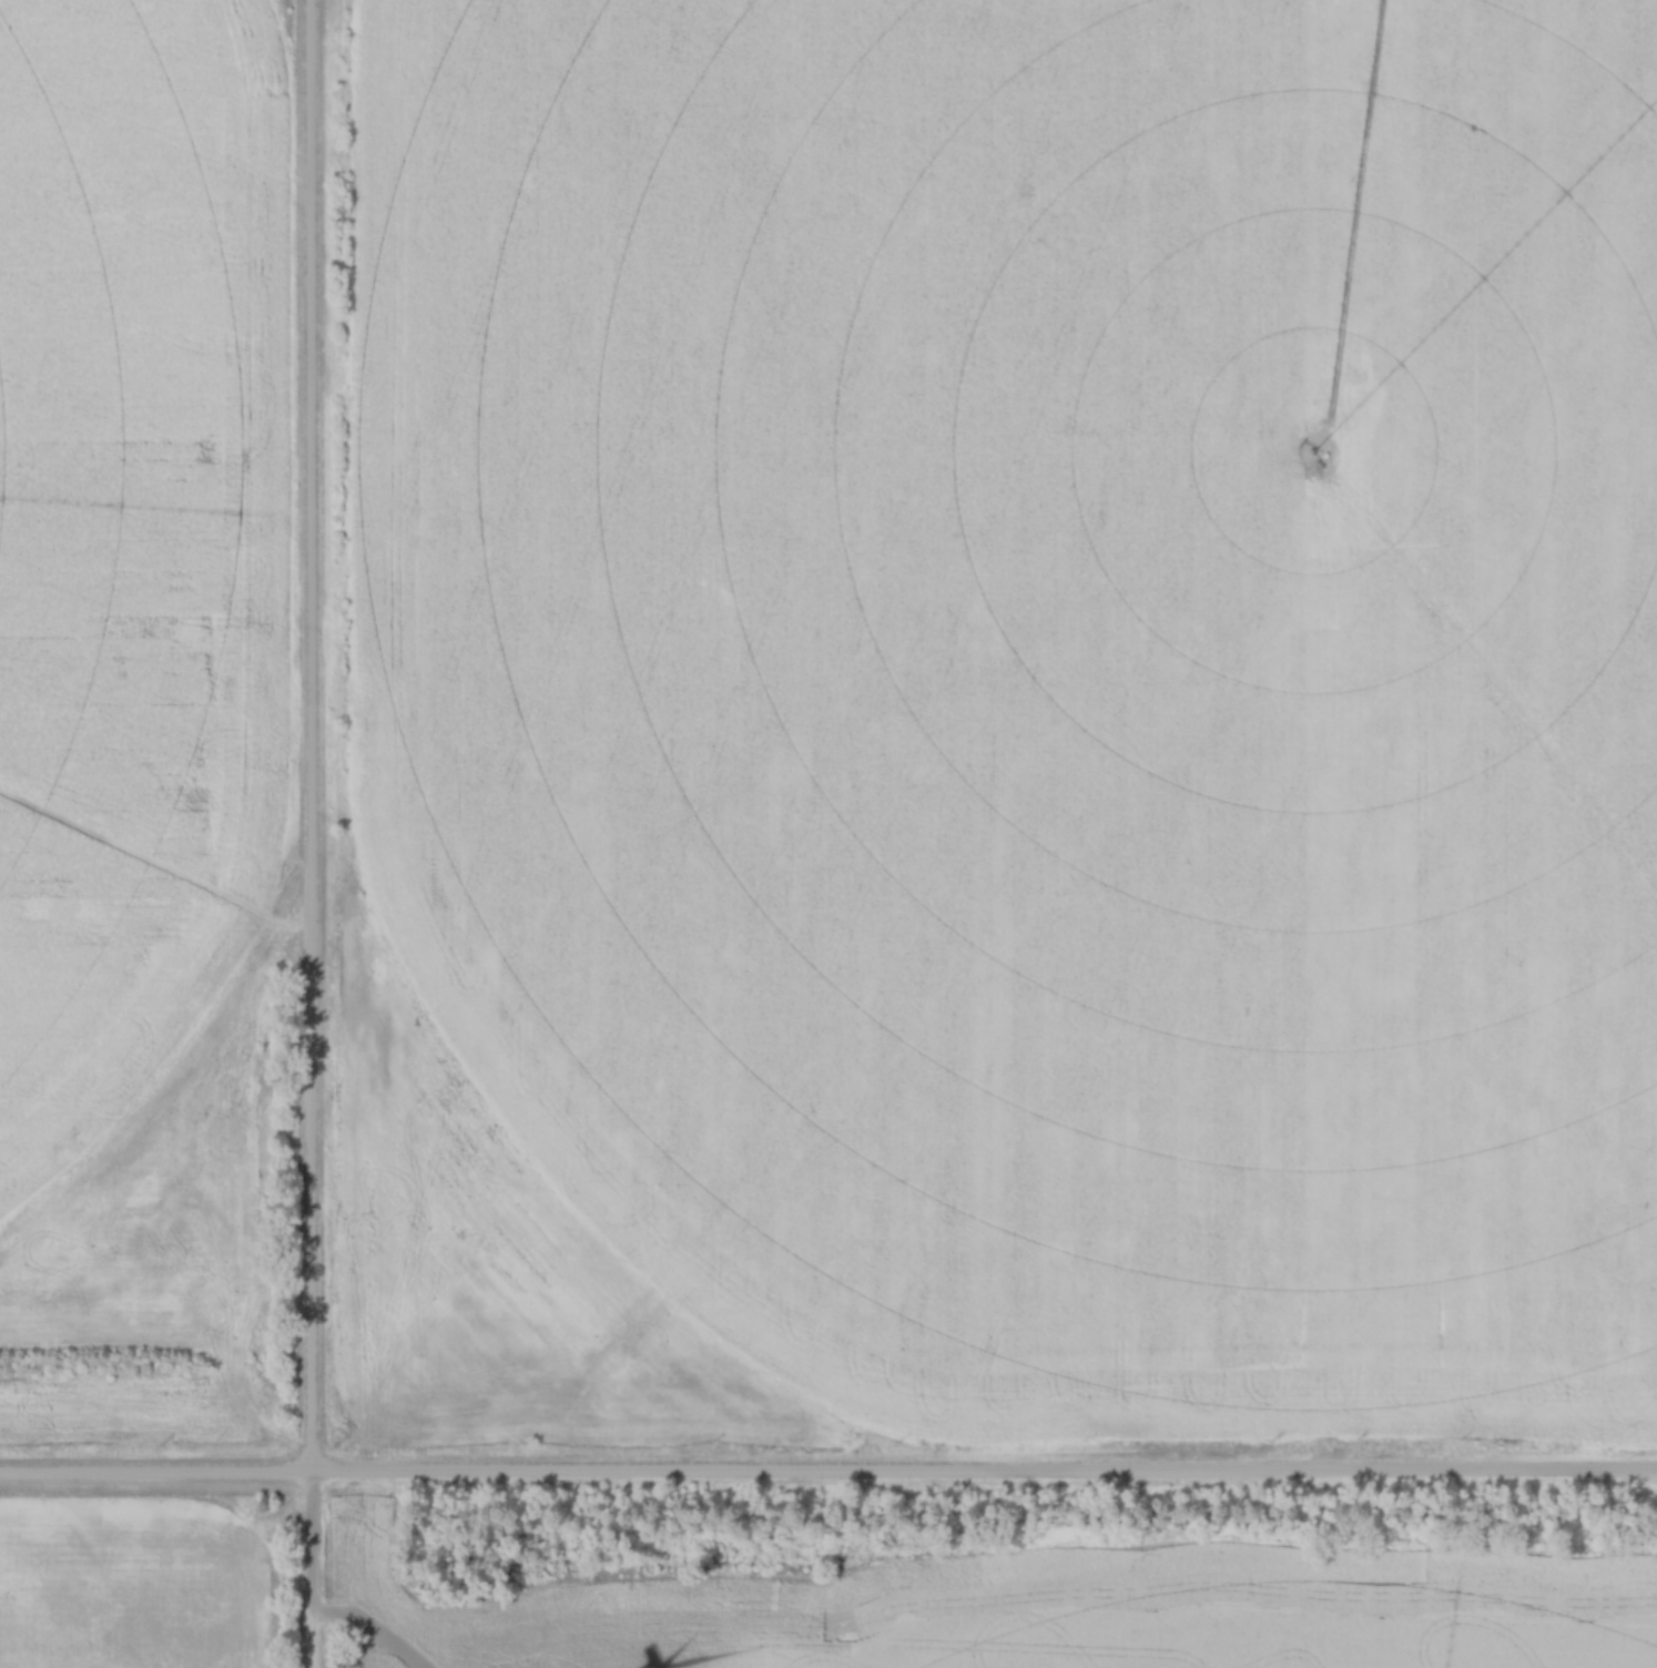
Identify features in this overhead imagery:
road: (314, 834)
road: (827, 1475)

